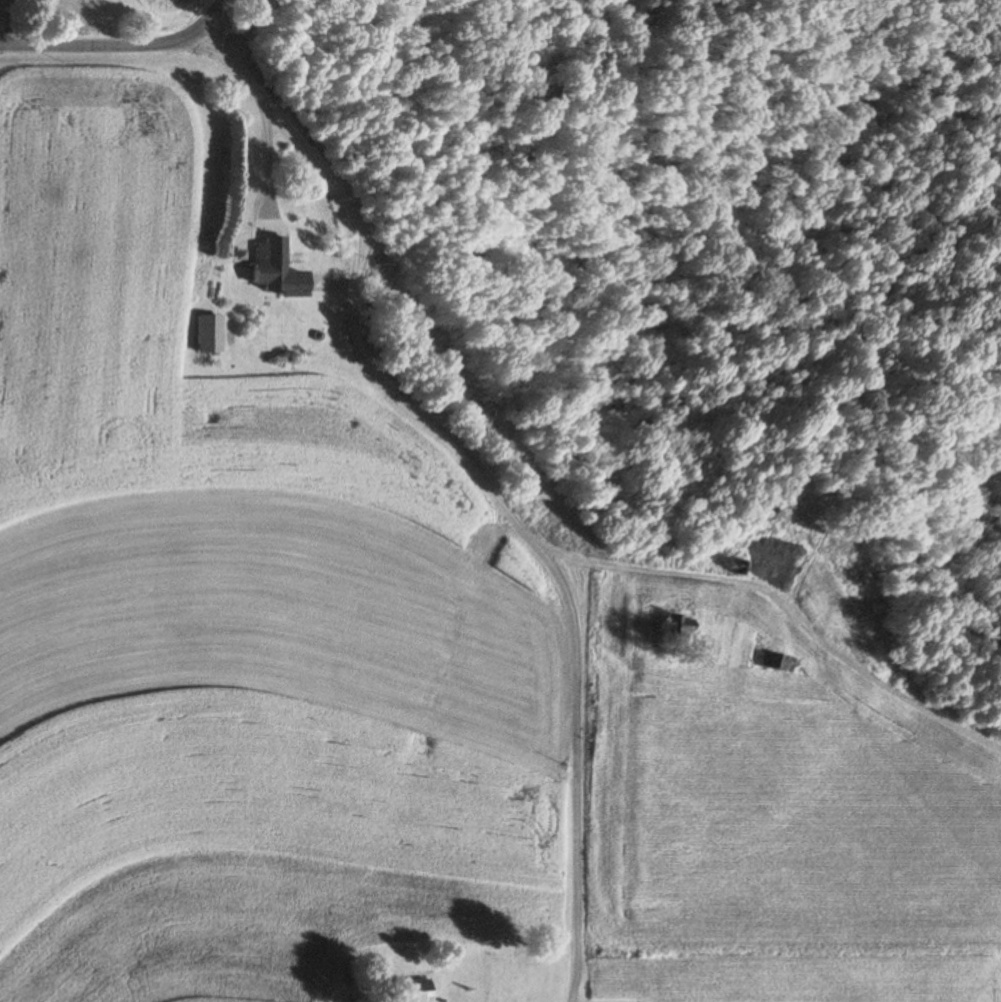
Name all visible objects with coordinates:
road: (10, 23)
road: (118, 48)
road: (267, 162)
building: (237, 255)
building: (277, 268)
building: (209, 334)
road: (478, 477)
building: (735, 566)
road: (784, 611)
building: (676, 630)
building: (772, 662)
building: (415, 990)

